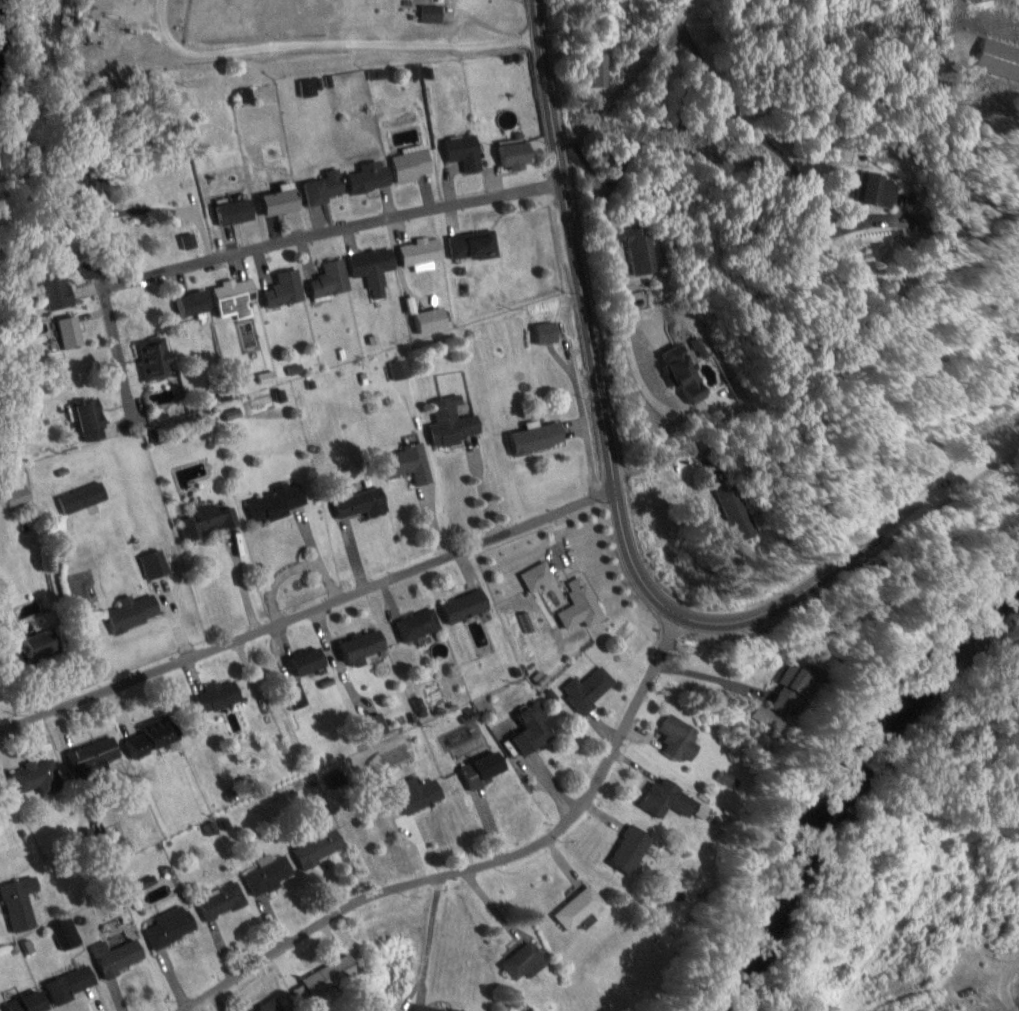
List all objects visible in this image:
building: (432, 13)
road: (332, 45)
building: (1017, 56)
building: (600, 69)
building: (464, 151)
building: (516, 154)
building: (412, 165)
building: (369, 176)
building: (893, 186)
building: (325, 187)
building: (281, 202)
building: (235, 211)
building: (473, 244)
road: (260, 247)
building: (421, 251)
building: (641, 251)
building: (371, 262)
building: (330, 279)
building: (284, 289)
building: (52, 290)
building: (235, 296)
building: (194, 303)
building: (431, 321)
building: (69, 332)
building: (547, 333)
building: (156, 358)
building: (687, 373)
building: (93, 421)
building: (454, 423)
building: (538, 439)
road: (1015, 450)
building: (407, 464)
building: (13, 486)
building: (82, 498)
building: (275, 502)
building: (360, 503)
building: (742, 509)
road: (620, 514)
building: (208, 522)
building: (154, 565)
building: (537, 577)
building: (578, 606)
building: (464, 607)
road: (308, 612)
building: (132, 613)
building: (417, 626)
building: (39, 646)
building: (363, 647)
road: (891, 658)
building: (309, 662)
building: (797, 681)
building: (588, 690)
building: (218, 697)
building: (376, 726)
building: (533, 730)
building: (158, 737)
building: (680, 739)
building: (95, 760)
building: (484, 769)
building: (36, 777)
river: (845, 786)
building: (417, 795)
building: (669, 799)
building: (319, 847)
building: (629, 849)
road: (478, 865)
building: (268, 874)
building: (220, 901)
building: (20, 903)
building: (577, 908)
building: (170, 926)
building: (120, 957)
building: (522, 962)
building: (72, 984)
road: (1004, 1000)
building: (30, 1003)
building: (271, 1007)
building: (442, 1009)

